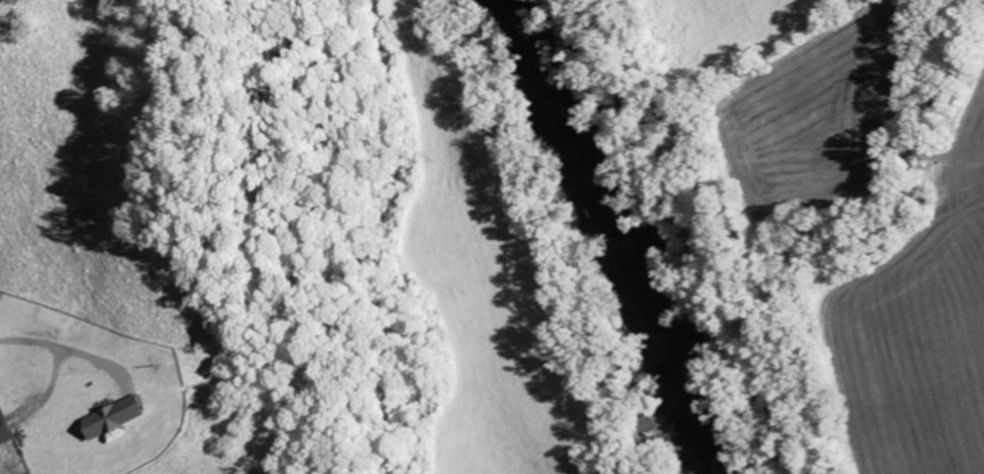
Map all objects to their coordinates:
road: (382, 236)
river: (603, 237)
building: (116, 417)
building: (2, 432)

